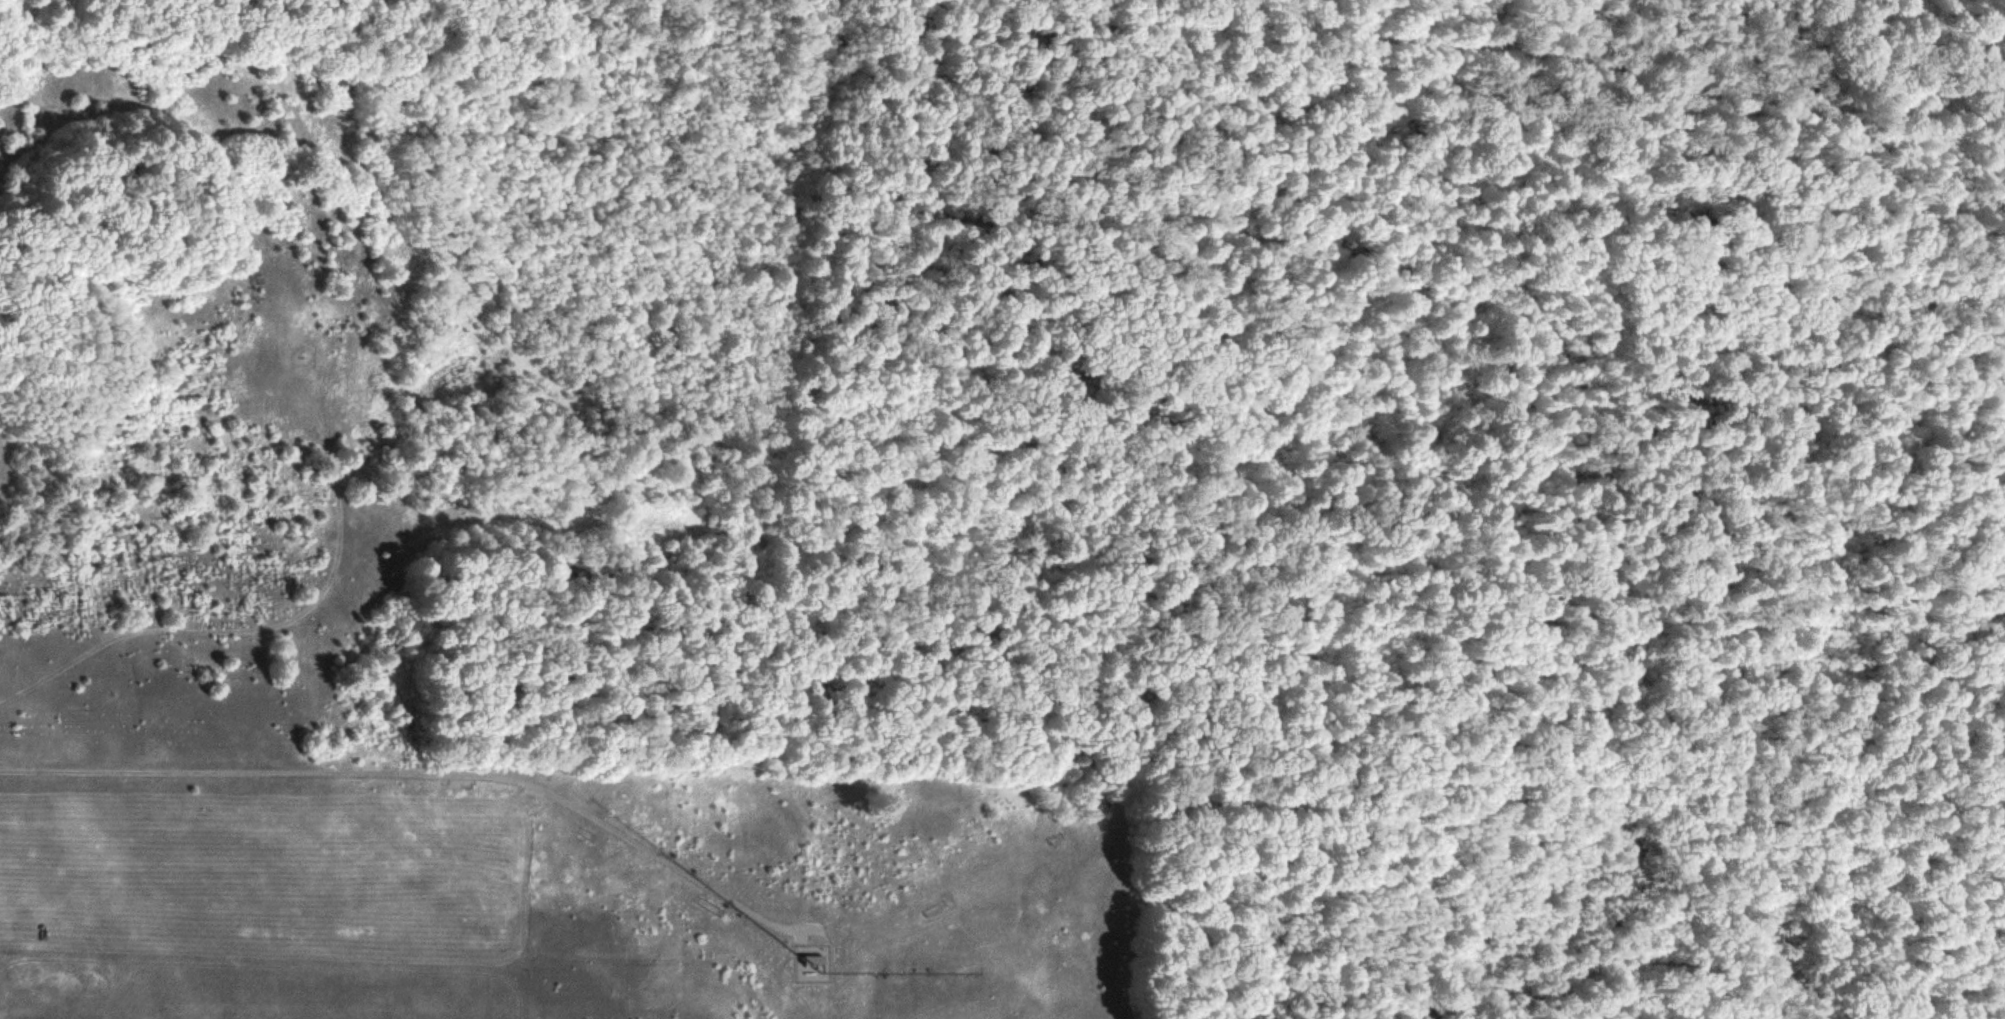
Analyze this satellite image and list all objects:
road: (416, 781)

